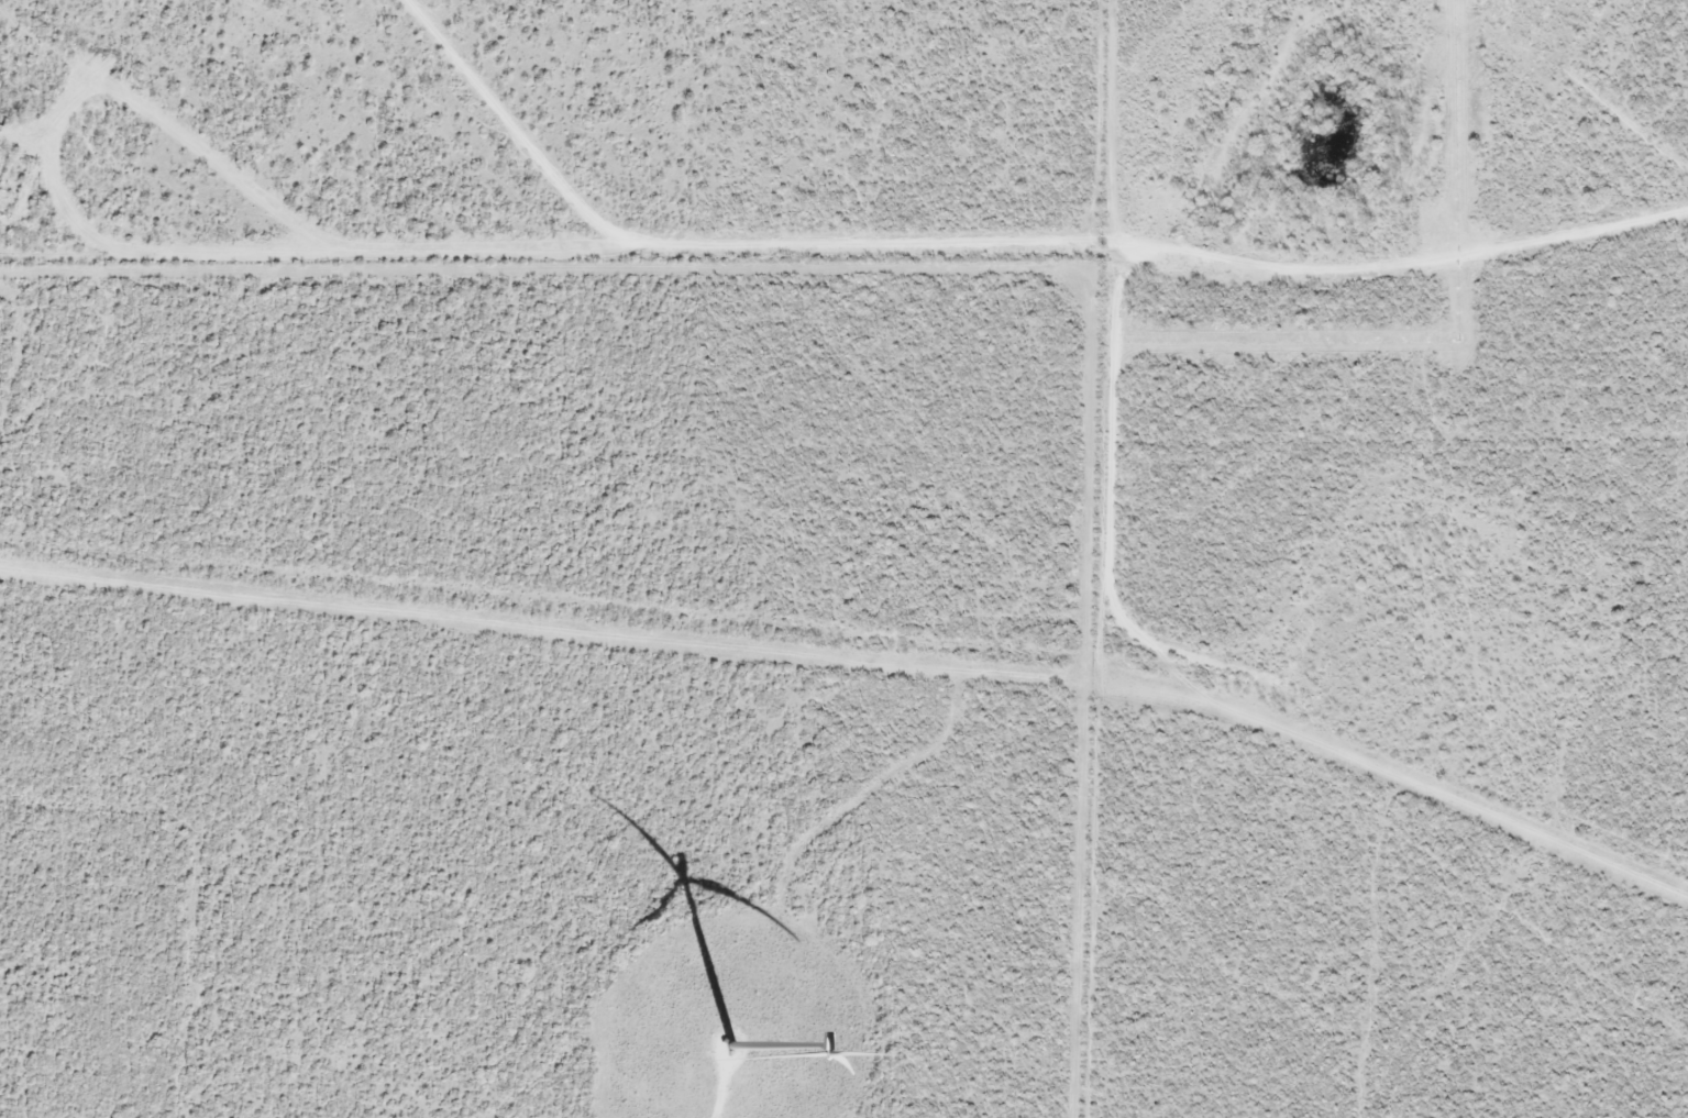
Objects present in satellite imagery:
road: (786, 263)
road: (27, 406)
wind turbine: (720, 1056)

